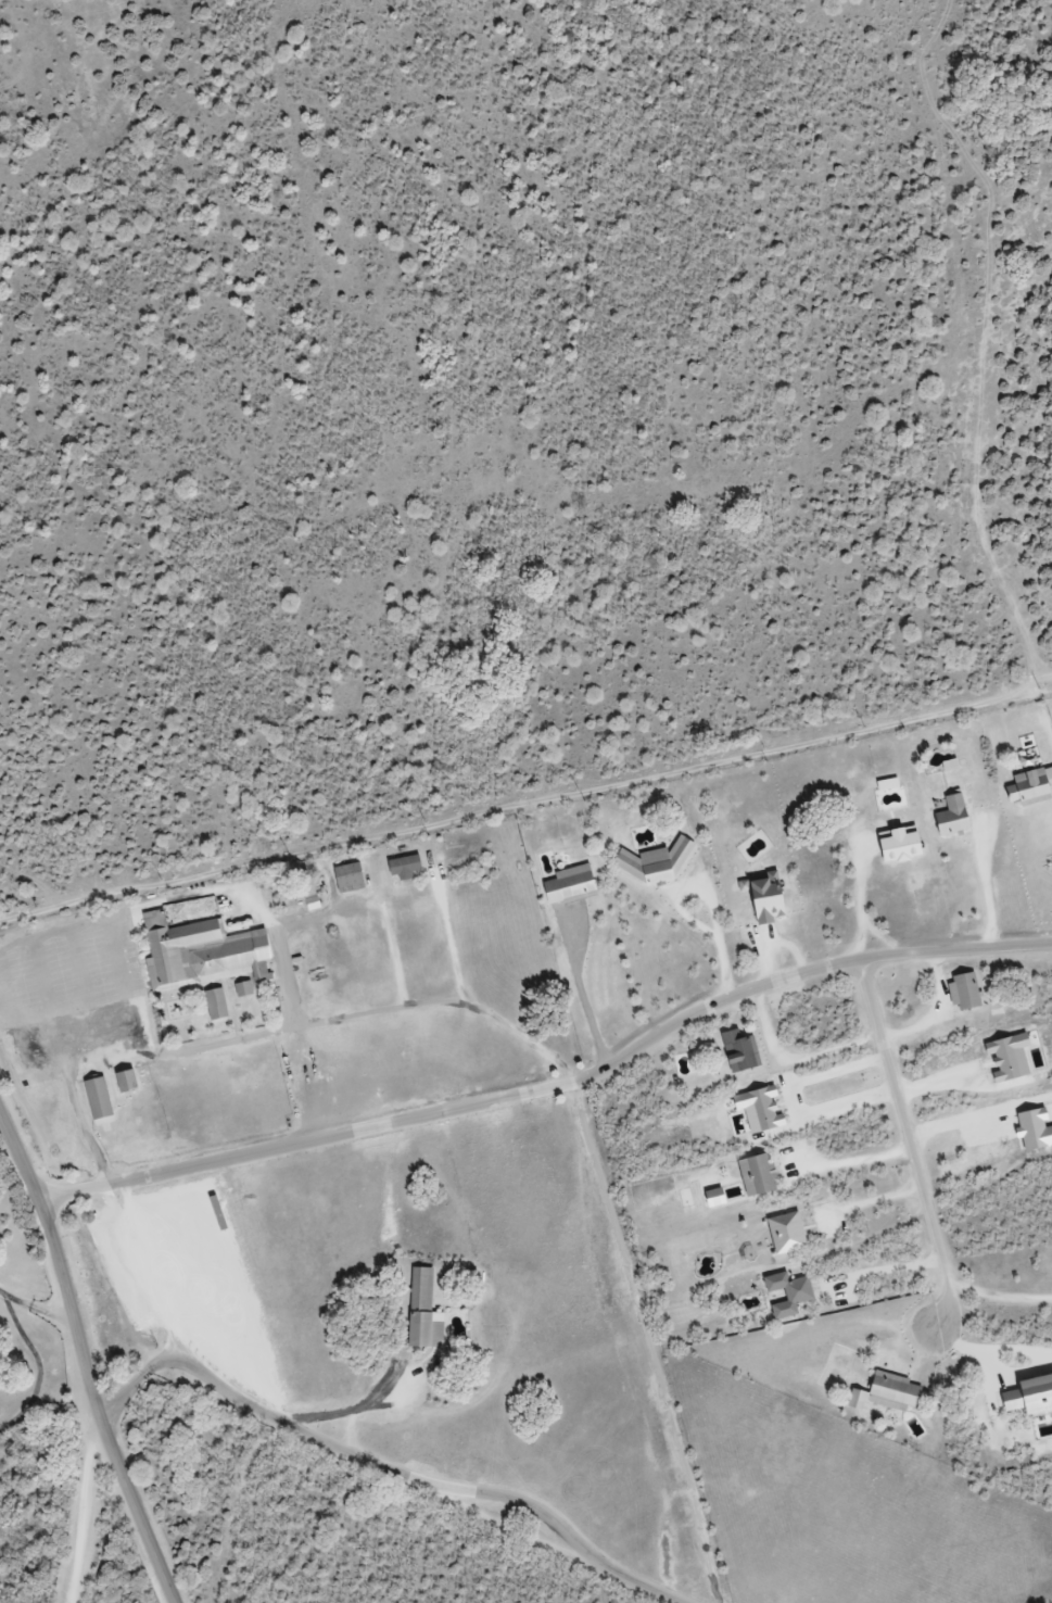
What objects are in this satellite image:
building: (1026, 787)
road: (529, 805)
building: (950, 816)
building: (895, 844)
building: (459, 854)
building: (655, 862)
building: (405, 867)
building: (353, 878)
building: (567, 885)
road: (988, 888)
road: (710, 894)
building: (762, 899)
road: (863, 899)
road: (886, 937)
road: (772, 939)
building: (205, 951)
building: (245, 990)
building: (962, 992)
road: (936, 1013)
road: (276, 1033)
building: (737, 1052)
road: (796, 1058)
building: (129, 1082)
road: (558, 1086)
building: (101, 1099)
road: (911, 1150)
building: (755, 1174)
building: (784, 1233)
building: (785, 1293)
building: (421, 1312)
road: (650, 1342)
road: (92, 1346)
building: (891, 1391)
building: (1026, 1396)
road: (344, 1452)

